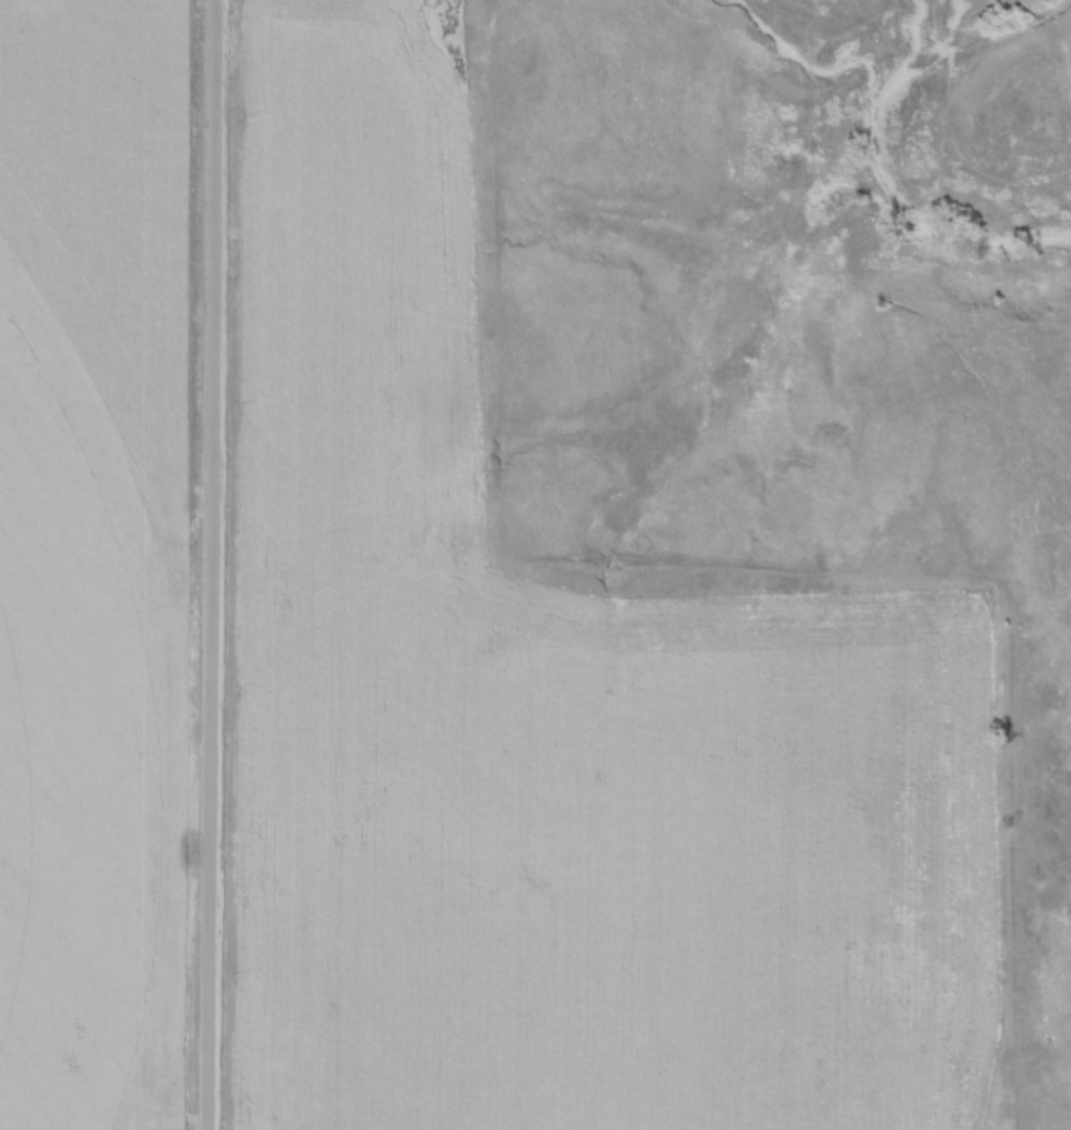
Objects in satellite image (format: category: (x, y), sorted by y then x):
road: (215, 565)
crop: (78, 760)

